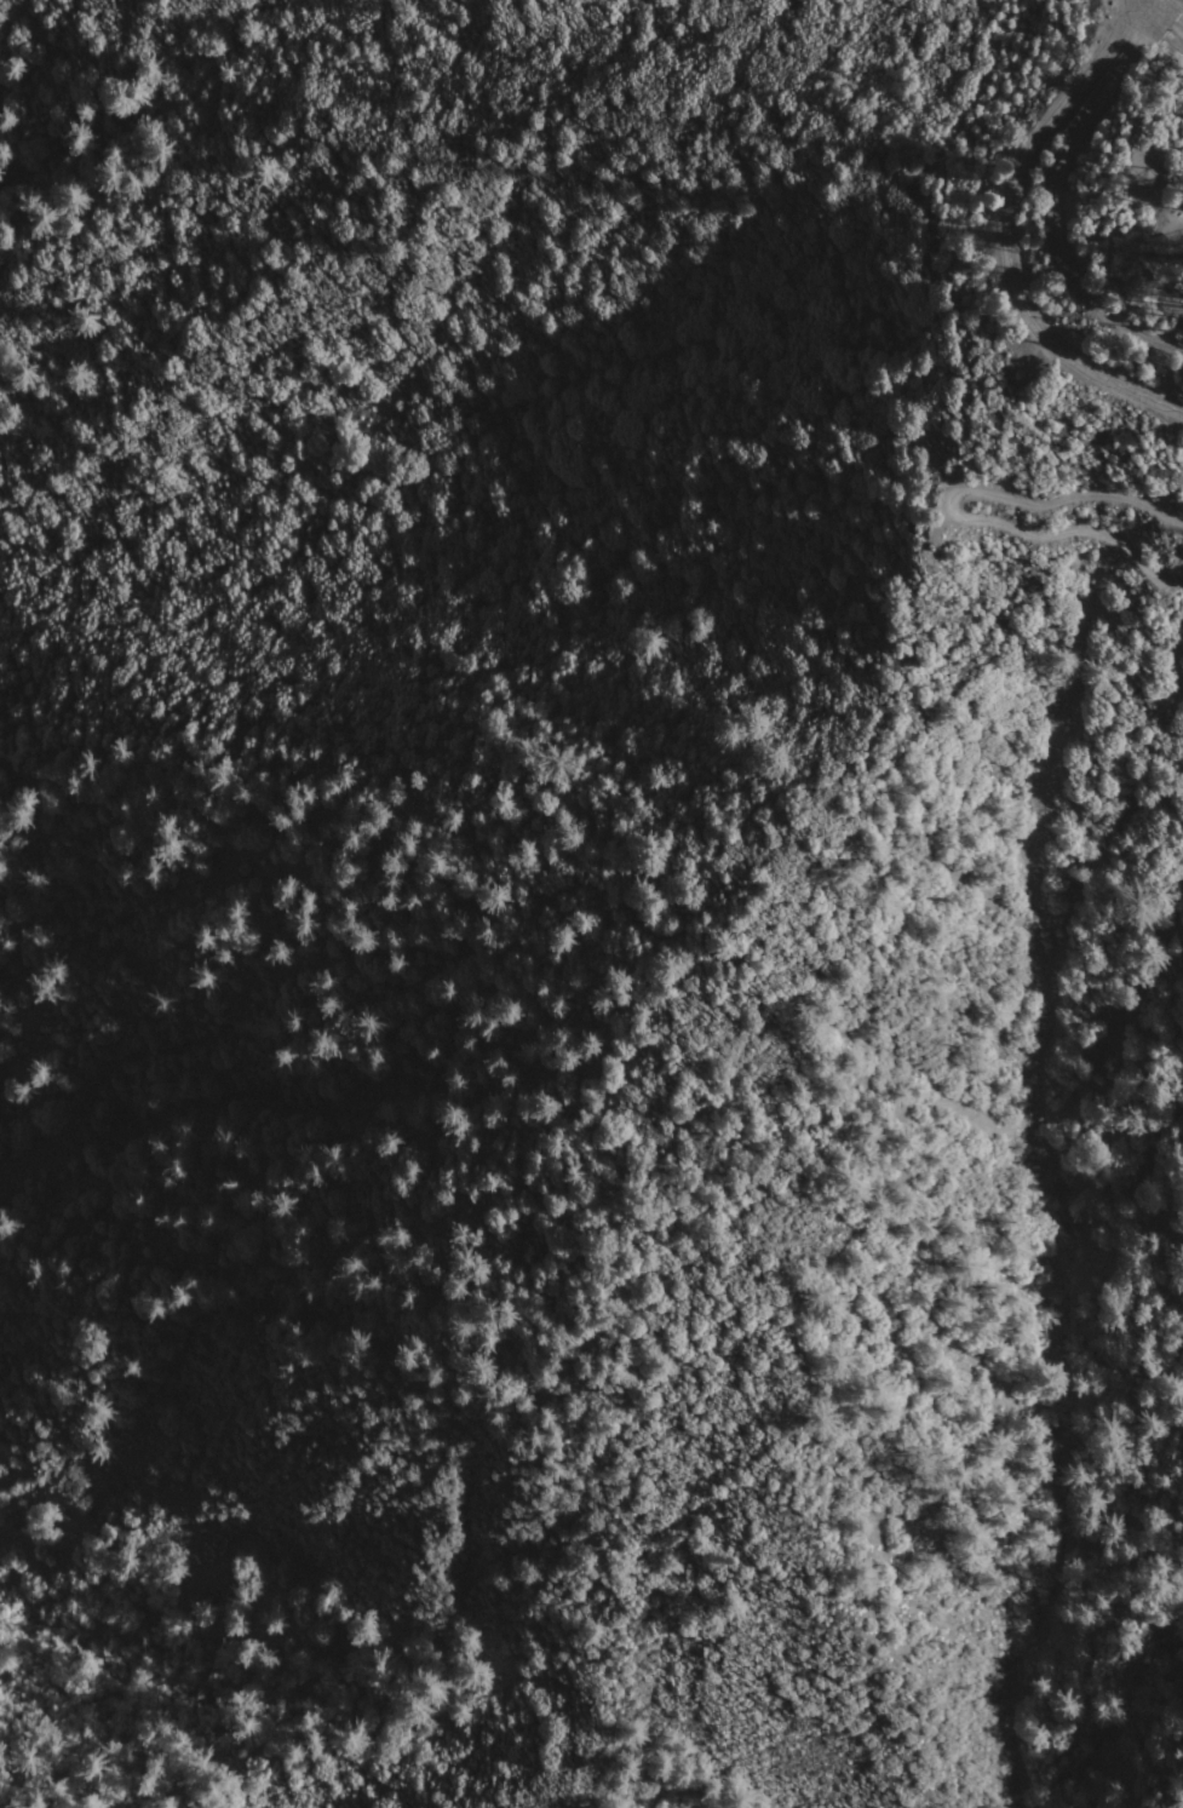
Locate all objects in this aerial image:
road: (1172, 6)
road: (1153, 30)
road: (1052, 208)
road: (1007, 234)
building: (1178, 279)
road: (952, 510)

